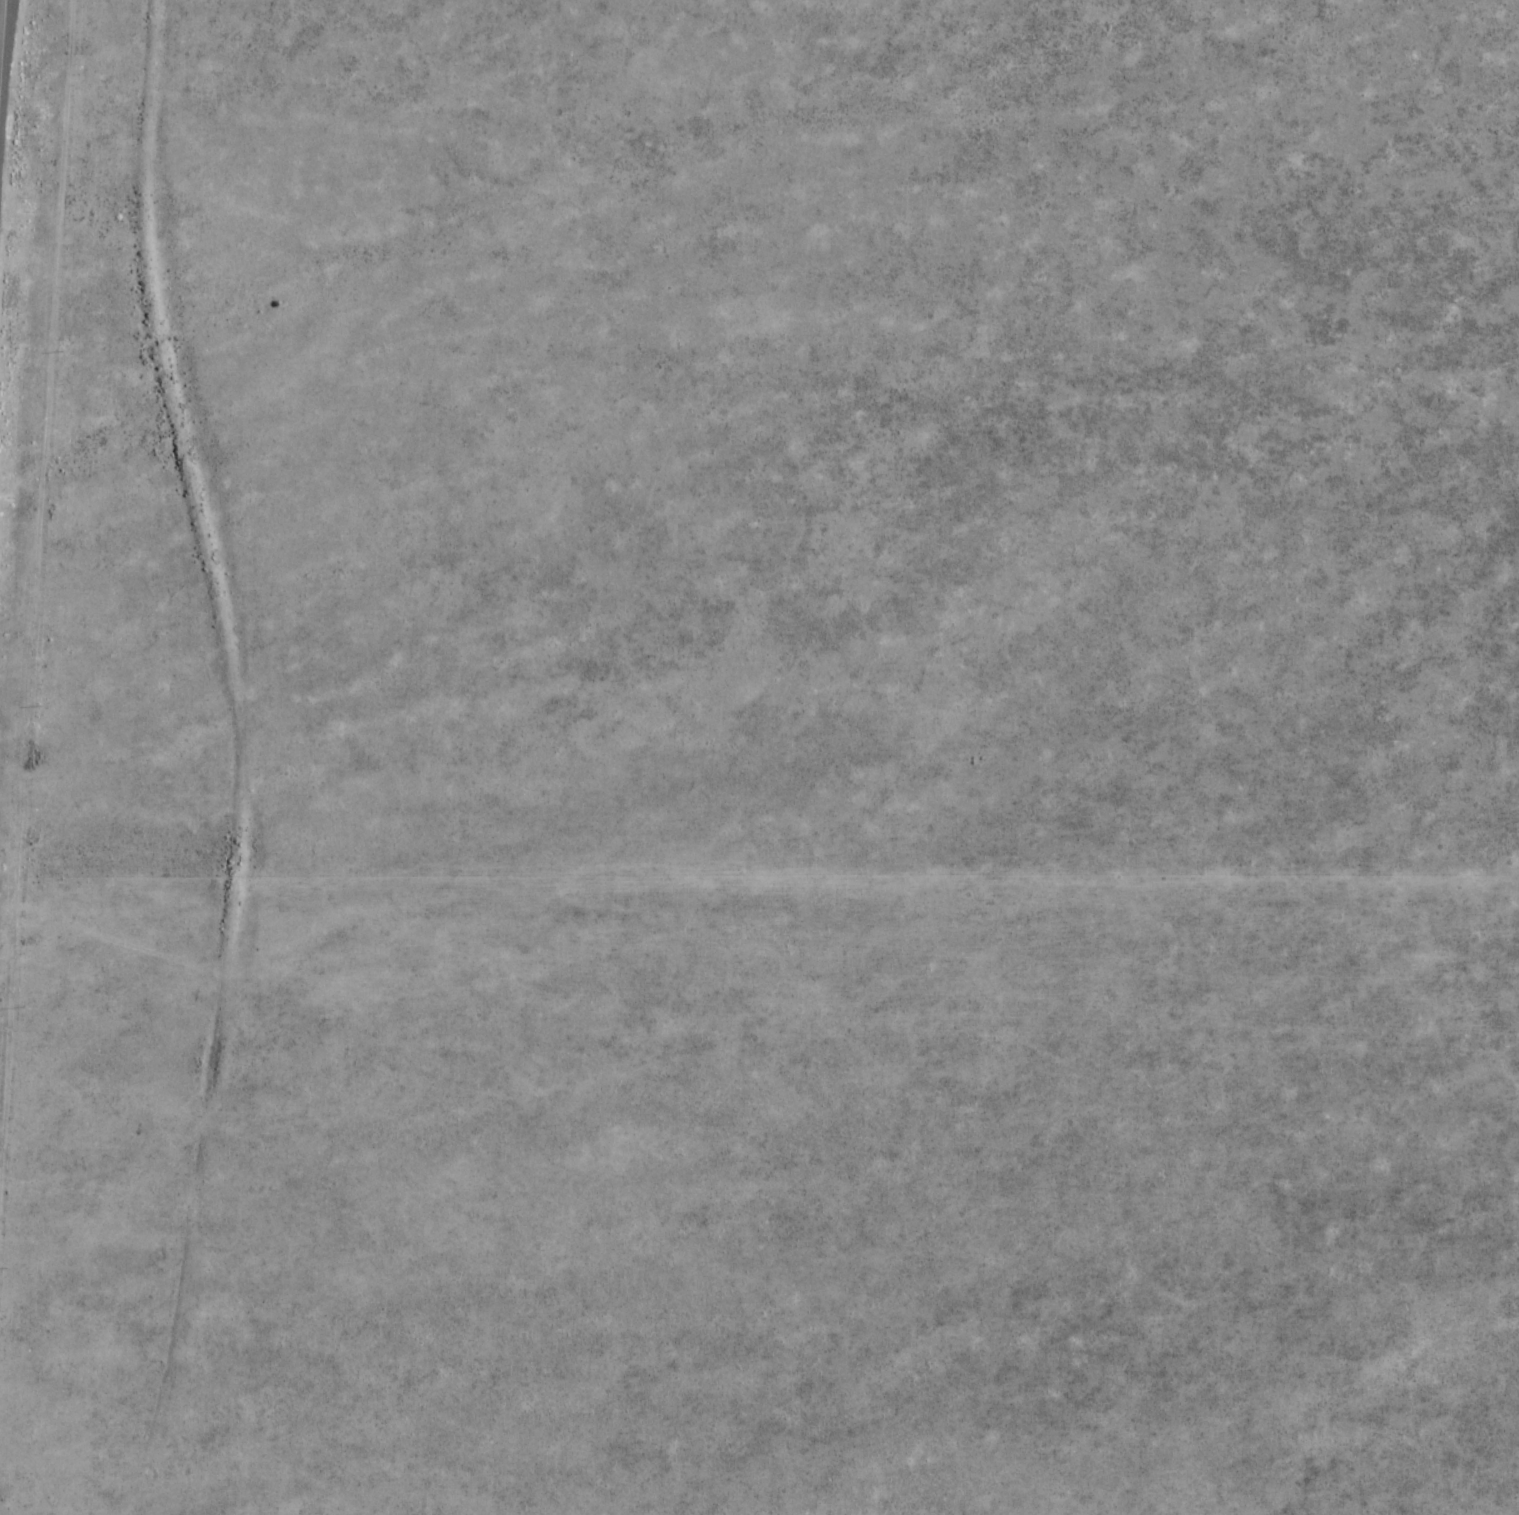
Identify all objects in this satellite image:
parking lot: (3, 16)

